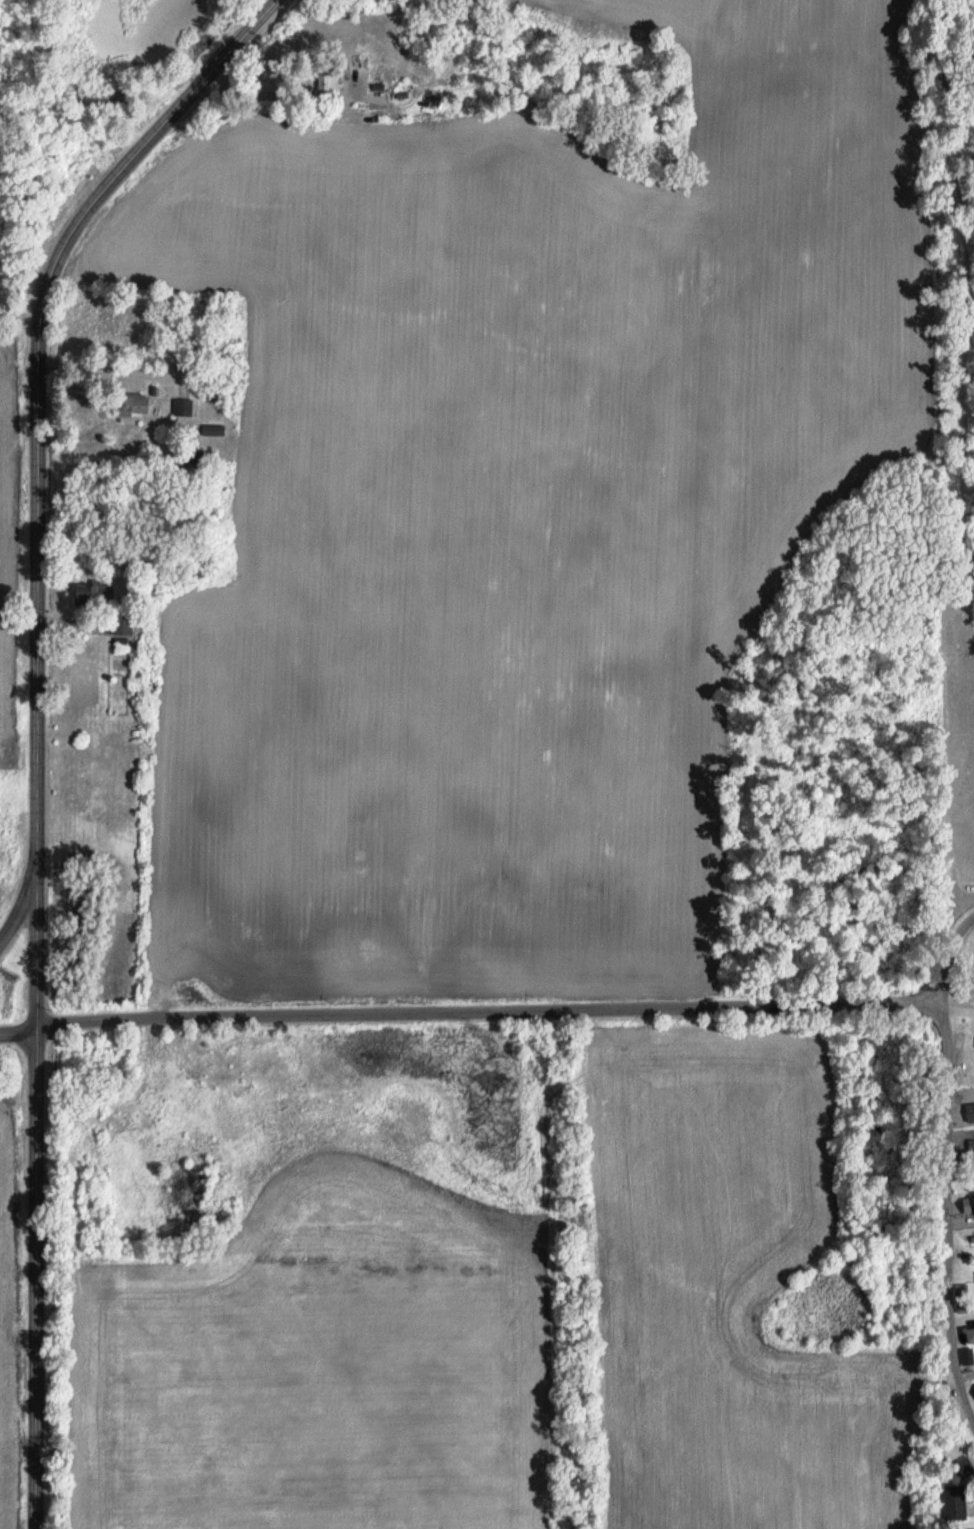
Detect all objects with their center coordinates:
building: (325, 79)
building: (127, 405)
building: (181, 406)
building: (88, 595)
building: (125, 625)
road: (35, 721)
road: (21, 901)
road: (485, 1019)
road: (18, 1043)
road: (945, 1171)
building: (963, 1290)
building: (965, 1307)
building: (973, 1333)
building: (966, 1464)
building: (957, 1500)

